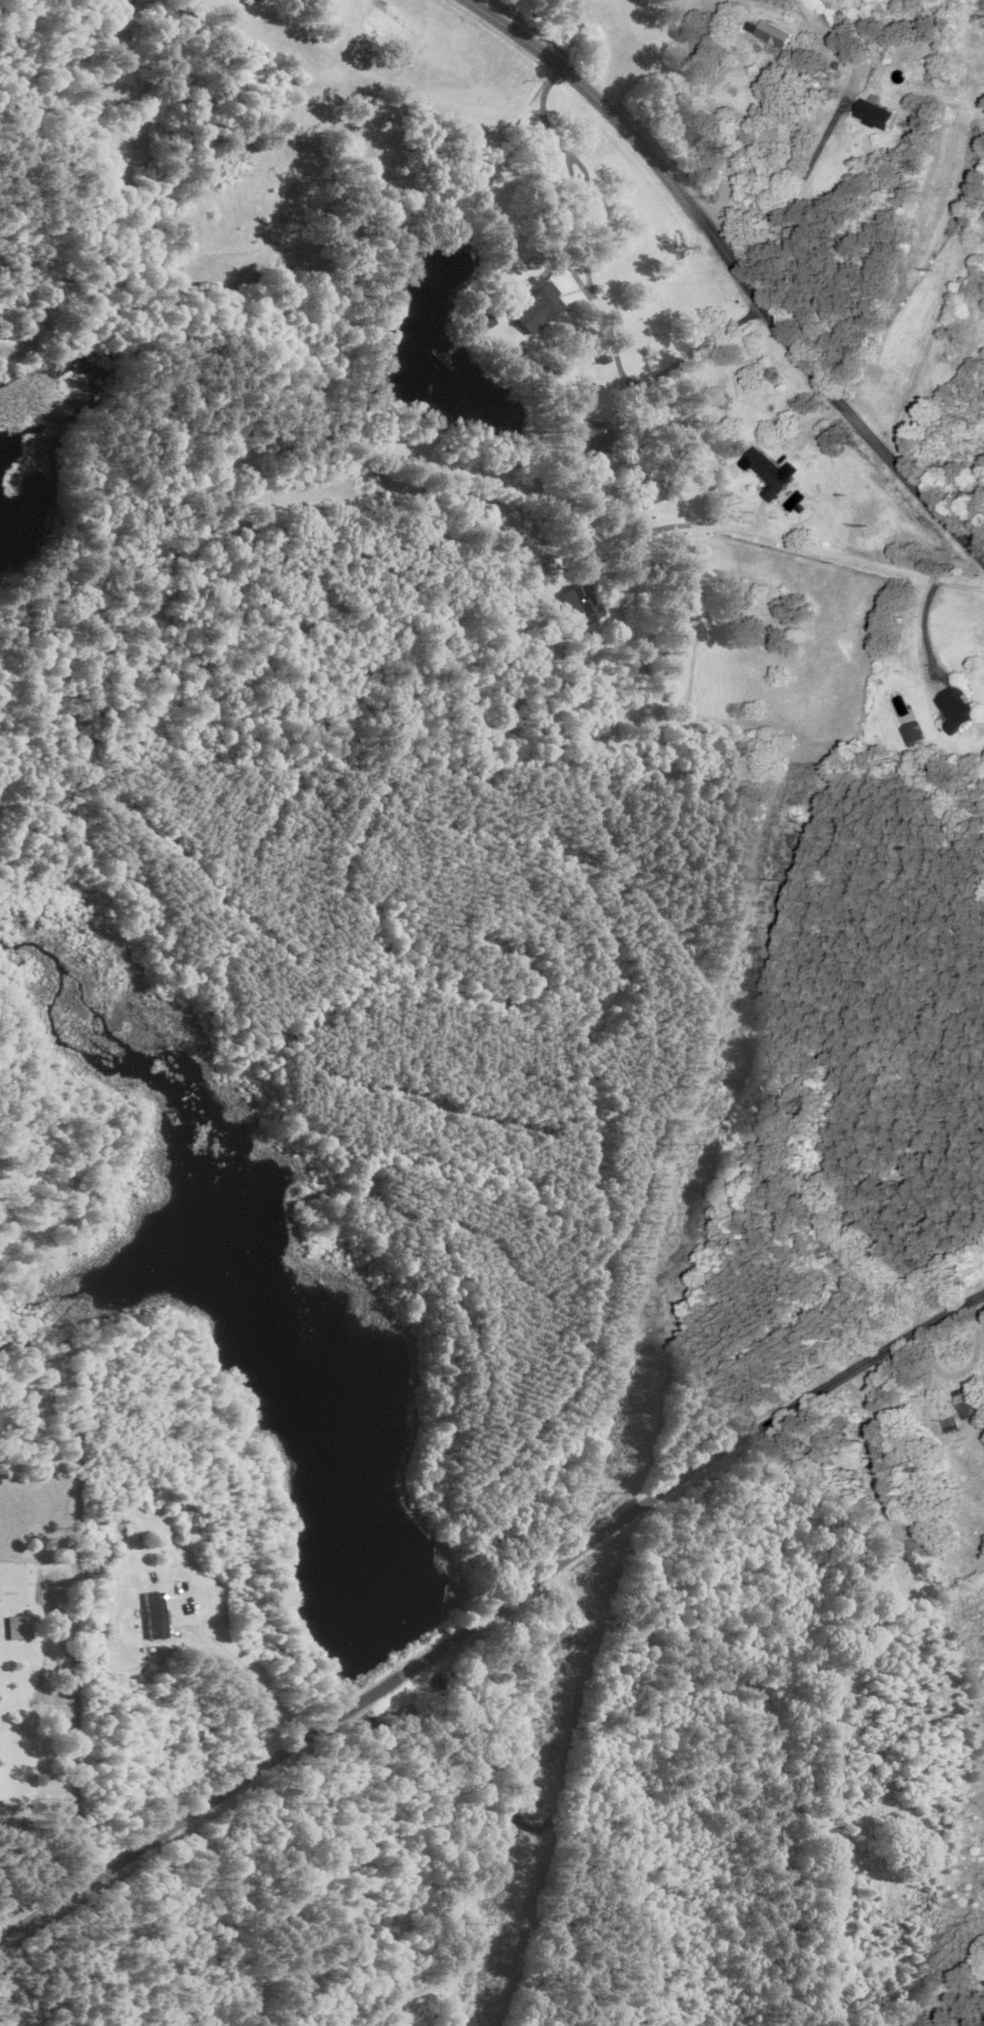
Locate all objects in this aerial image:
building: (766, 35)
road: (740, 113)
building: (869, 114)
road: (737, 269)
building: (543, 307)
building: (764, 474)
road: (783, 539)
building: (579, 605)
building: (951, 708)
road: (923, 821)
road: (172, 1044)
road: (601, 1069)
road: (520, 1301)
road: (406, 1378)
building: (961, 1402)
road: (487, 1609)
building: (158, 1616)
building: (18, 1632)
road: (250, 1669)
road: (443, 1819)
road: (352, 1872)
road: (78, 1948)
road: (36, 1973)

